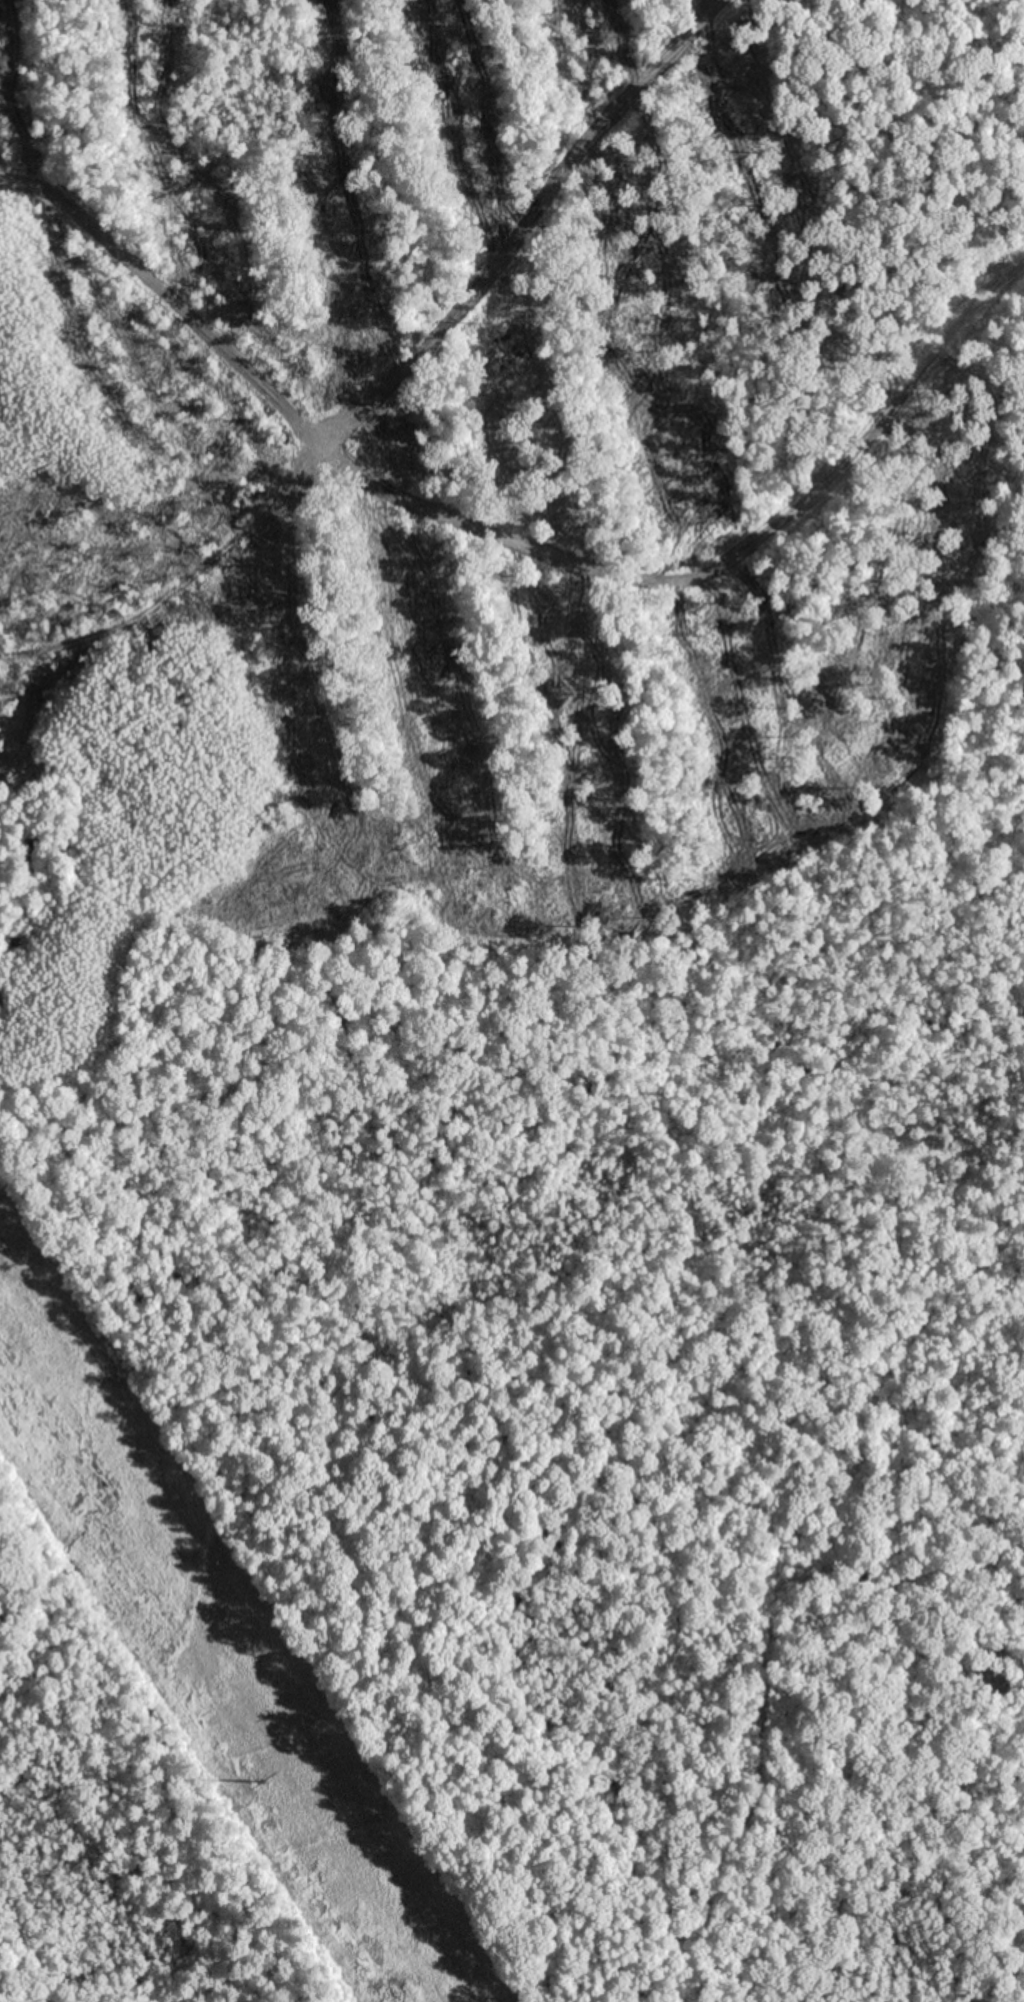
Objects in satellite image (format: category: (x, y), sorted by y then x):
power tower: (264, 1777)

